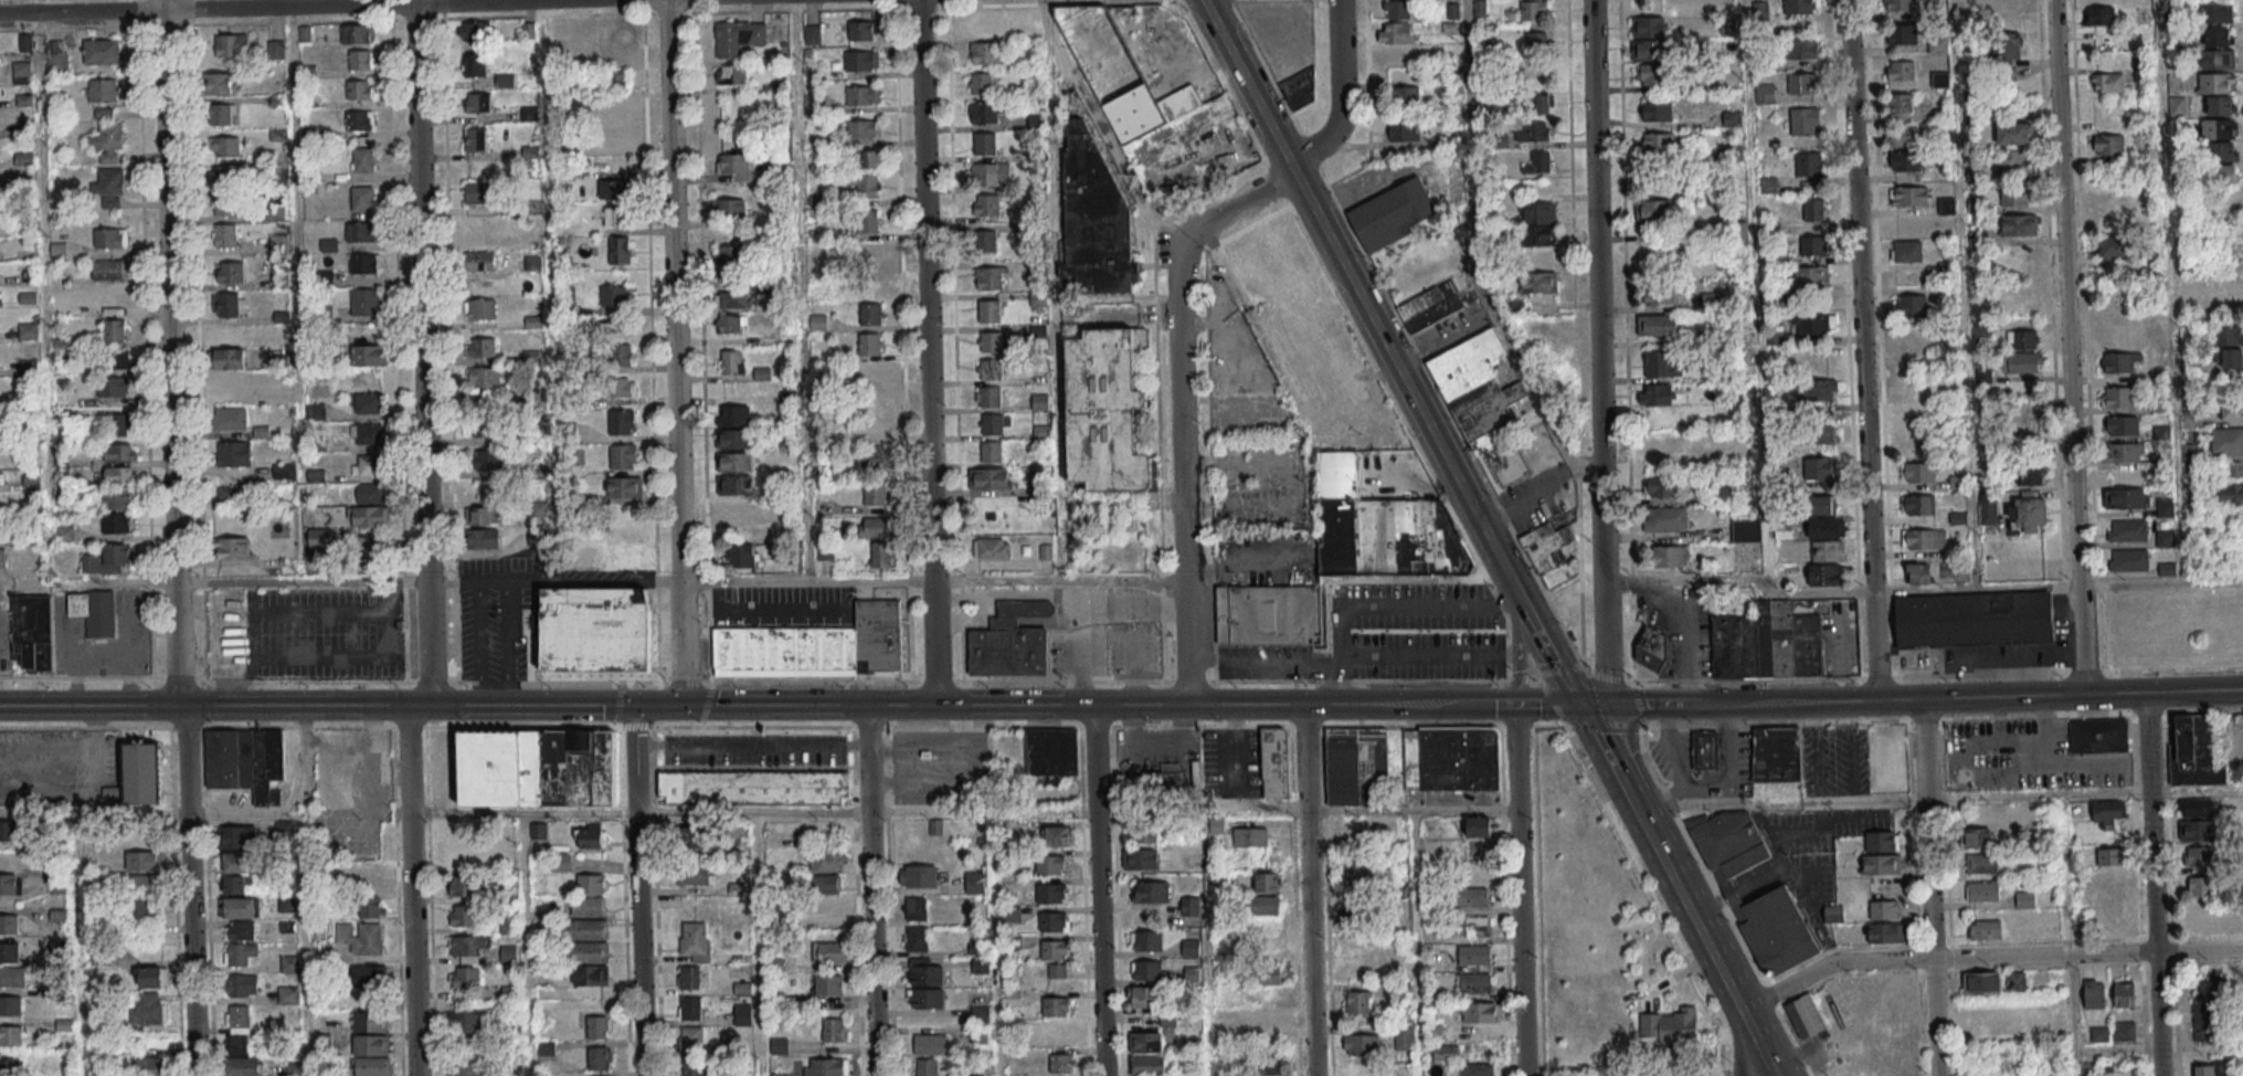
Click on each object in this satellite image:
building: (1968, 2)
building: (1901, 4)
building: (2006, 4)
road: (288, 7)
building: (1802, 7)
building: (1396, 9)
building: (1533, 10)
building: (2215, 12)
building: (2101, 15)
building: (986, 22)
building: (528, 30)
building: (860, 30)
building: (473, 31)
building: (1395, 32)
building: (356, 33)
building: (1902, 33)
building: (2216, 35)
building: (738, 36)
building: (1649, 38)
building: (1536, 41)
building: (232, 44)
building: (1937, 45)
building: (1802, 48)
building: (276, 49)
building: (100, 51)
building: (2006, 51)
building: (614, 52)
building: (985, 52)
building: (1395, 55)
building: (57, 57)
building: (361, 59)
building: (2218, 59)
building: (860, 60)
building: (473, 65)
building: (1901, 71)
building: (21, 72)
building: (1536, 73)
building: (729, 74)
building: (1652, 74)
building: (505, 80)
building: (615, 80)
building: (1940, 80)
building: (2106, 82)
building: (218, 83)
building: (981, 83)
building: (1801, 83)
building: (2216, 83)
building: (102, 89)
building: (359, 89)
building: (1299, 89)
building: (1765, 93)
road: (1340, 94)
building: (863, 95)
building: (1404, 96)
building: (1179, 102)
building: (478, 103)
building: (1542, 103)
building: (1901, 103)
building: (2221, 105)
building: (2177, 106)
building: (612, 110)
building: (1657, 110)
building: (984, 113)
building: (222, 114)
building: (1732, 118)
building: (359, 119)
building: (1805, 120)
building: (861, 129)
building: (2218, 129)
building: (1403, 130)
building: (1532, 131)
building: (276, 134)
building: (2014, 134)
building: (1903, 136)
building: (612, 138)
road: (1108, 138)
building: (476, 139)
building: (107, 141)
building: (984, 143)
building: (1658, 143)
building: (225, 145)
building: (2108, 146)
building: (2223, 151)
building: (868, 158)
building: (363, 160)
building: (1905, 160)
building: (2014, 161)
building: (732, 162)
building: (1540, 162)
building: (1809, 165)
building: (225, 173)
building: (991, 173)
building: (2223, 173)
building: (864, 184)
building: (109, 187)
building: (613, 188)
building: (479, 192)
building: (1911, 196)
building: (2017, 197)
building: (363, 198)
road: (1241, 200)
building: (225, 203)
building: (986, 204)
building: (1947, 205)
building: (728, 208)
building: (1813, 209)
building: (1653, 210)
building: (1392, 214)
building: (615, 217)
building: (1094, 220)
building: (867, 221)
building: (2115, 223)
building: (1538, 224)
building: (2018, 224)
building: (476, 228)
building: (361, 232)
building: (225, 235)
building: (110, 238)
building: (985, 241)
building: (1812, 245)
building: (2117, 246)
building: (620, 250)
building: (1906, 251)
building: (867, 254)
building: (731, 255)
road: (1470, 259)
building: (2017, 260)
building: (480, 261)
building: (364, 263)
building: (109, 268)
building: (1538, 271)
building: (230, 272)
building: (1283, 273)
building: (1810, 276)
building: (990, 277)
road: (1051, 288)
road: (674, 289)
road: (925, 289)
building: (2226, 291)
building: (1659, 293)
building: (615, 295)
building: (730, 297)
building: (2184, 297)
building: (113, 298)
building: (364, 300)
building: (229, 304)
building: (1909, 305)
road: (1364, 306)
building: (60, 307)
building: (1427, 307)
building: (479, 308)
building: (990, 310)
building: (870, 313)
building: (1816, 321)
building: (731, 323)
building: (1657, 325)
building: (115, 329)
building: (28, 330)
building: (233, 335)
road: (1355, 337)
building: (2022, 339)
road: (448, 340)
road: (902, 340)
road: (197, 341)
building: (990, 342)
building: (1911, 342)
building: (869, 344)
building: (2229, 345)
building: (479, 347)
road: (2066, 347)
road: (1862, 349)
road: (1599, 350)
road: (422, 352)
building: (369, 355)
building: (622, 355)
building: (229, 358)
building: (118, 359)
building: (730, 361)
building: (2119, 361)
building: (2021, 362)
building: (1661, 363)
building: (990, 369)
building: (871, 372)
building: (484, 377)
building: (226, 380)
building: (113, 387)
building: (618, 387)
building: (1475, 388)
building: (1906, 388)
building: (1820, 390)
building: (1655, 394)
building: (988, 397)
building: (2117, 397)
building: (366, 403)
building: (1105, 411)
building: (2230, 411)
road: (146, 414)
building: (732, 415)
building: (229, 418)
building: (622, 422)
building: (2023, 422)
building: (995, 423)
building: (117, 424)
building: (485, 425)
building: (2122, 425)
building: (875, 431)
building: (367, 433)
building: (1824, 433)
building: (734, 439)
building: (1655, 439)
building: (2226, 441)
building: (119, 452)
building: (991, 452)
building: (2124, 452)
building: (233, 453)
building: (623, 456)
building: (877, 457)
building: (485, 458)
building: (733, 462)
building: (367, 465)
road: (1182, 465)
building: (1818, 467)
building: (2232, 468)
building: (284, 471)
building: (1917, 472)
building: (120, 474)
building: (2031, 474)
building: (2, 477)
building: (990, 478)
building: (317, 482)
building: (734, 484)
building: (1662, 486)
building: (624, 487)
building: (370, 493)
building: (2226, 493)
building: (875, 494)
building: (1725, 494)
building: (233, 496)
building: (2129, 498)
building: (118, 499)
building: (1821, 504)
building: (1916, 505)
building: (2163, 507)
building: (734, 508)
building: (1988, 511)
building: (2028, 513)
building: (485, 515)
building: (369, 516)
building: (1664, 519)
building: (115, 525)
building: (877, 526)
building: (1826, 527)
building: (1782, 529)
building: (1746, 530)
building: (2126, 530)
road: (173, 538)
building: (319, 538)
building: (483, 538)
building: (1923, 538)
building: (232, 548)
building: (991, 548)
building: (1828, 550)
building: (1551, 553)
building: (740, 555)
building: (882, 555)
building: (1671, 556)
building: (1344, 558)
building: (3, 559)
building: (107, 560)
building: (2128, 560)
building: (1917, 572)
building: (1824, 574)
road: (932, 579)
road: (301, 580)
road: (1921, 591)
road: (1384, 603)
parking lot: (782, 604)
building: (95, 611)
building: (1974, 620)
building: (594, 630)
building: (33, 631)
parking lot: (305, 633)
road: (934, 642)
building: (1011, 642)
building: (1767, 642)
road: (681, 643)
building: (814, 646)
building: (1652, 648)
road: (1552, 656)
road: (1523, 658)
road: (1355, 660)
road: (1557, 669)
road: (1520, 677)
road: (613, 682)
road: (1982, 697)
road: (1664, 700)
traffic signals: (1575, 701)
road: (1590, 701)
road: (1545, 703)
road: (1637, 703)
road: (1492, 704)
traffic signals: (633, 706)
traffic signals: (684, 706)
road: (734, 706)
road: (1943, 720)
road: (1604, 725)
road: (782, 727)
road: (95, 729)
road: (1593, 734)
building: (2097, 735)
road: (887, 746)
building: (1704, 750)
building: (2194, 751)
road: (47, 752)
building: (1776, 752)
building: (1050, 753)
building: (1451, 758)
building: (246, 761)
building: (1274, 762)
building: (1356, 766)
building: (536, 768)
building: (140, 771)
road: (95, 772)
road: (970, 780)
building: (1163, 780)
building: (754, 788)
road: (47, 794)
road: (1938, 799)
building: (2198, 806)
road: (204, 812)
road: (1636, 812)
road: (964, 813)
building: (2105, 814)
building: (1480, 825)
building: (2197, 830)
building: (9, 831)
building: (1143, 833)
building: (591, 835)
building: (1057, 835)
building: (237, 836)
building: (1249, 836)
building: (691, 837)
building: (1979, 837)
building: (1881, 841)
building: (2109, 856)
building: (2199, 856)
building: (1140, 858)
building: (144, 861)
building: (827, 861)
building: (237, 862)
building: (563, 862)
building: (1981, 863)
building: (1050, 864)
building: (1880, 864)
building: (1355, 873)
building: (694, 874)
building: (918, 875)
building: (2109, 878)
building: (1267, 882)
building: (370, 883)
building: (591, 883)
building: (974, 883)
building: (10, 884)
building: (141, 884)
building: (237, 884)
building: (823, 884)
road: (2151, 885)
building: (463, 886)
building: (2201, 886)
road: (1928, 887)
road: (1098, 889)
road: (1309, 889)
road: (1519, 889)
road: (412, 890)
road: (637, 890)
road: (870, 890)
building: (1983, 890)
building: (1151, 892)
building: (1051, 893)
building: (1778, 894)
building: (1472, 897)
building: (2024, 899)
road: (1723, 901)
building: (1262, 905)
building: (372, 906)
building: (588, 906)
building: (830, 906)
building: (1189, 906)
building: (242, 907)
building: (916, 908)
building: (1884, 909)
building: (141, 911)
building: (1833, 914)
building: (463, 915)
building: (2202, 917)
building: (1051, 921)
building: (1361, 922)
building: (8, 924)
building: (2112, 925)
building: (1473, 926)
building: (588, 928)
building: (240, 929)
building: (1985, 929)
building: (1885, 932)
building: (360, 937)
building: (917, 939)
building: (695, 940)
building: (1145, 940)
road: (525, 945)
road: (758, 945)
building: (467, 947)
building: (1189, 947)
building: (9, 952)
building: (589, 952)
building: (830, 952)
building: (239, 953)
building: (508, 953)
building: (1474, 954)
building: (1056, 957)
road: (1987, 958)
building: (1437, 961)
building: (287, 963)
building: (980, 966)
road: (1720, 966)
building: (1147, 970)
building: (925, 971)
building: (1191, 973)
building: (1266, 973)
building: (369, 974)
building: (589, 974)
building: (14, 975)
building: (150, 977)
building: (464, 977)
building: (689, 977)
building: (2015, 981)
building: (1474, 982)
building: (1981, 982)
building: (243, 984)
building: (828, 984)
building: (2094, 993)
building: (2124, 993)
building: (288, 994)
building: (1144, 996)
building: (1268, 996)
building: (927, 999)
building: (1357, 1003)
building: (10, 1004)
building: (1056, 1005)
building: (689, 1008)
building: (148, 1009)
building: (2207, 1010)
building: (1480, 1012)
building: (742, 1014)
building: (980, 1014)
building: (1805, 1016)
building: (1167, 1019)
building: (1270, 1019)
building: (370, 1021)
building: (467, 1021)
building: (1668, 1025)
building: (597, 1026)
building: (237, 1030)
building: (833, 1030)
building: (2123, 1031)
building: (1992, 1032)
building: (1060, 1034)
building: (11, 1035)
building: (690, 1036)
building: (1404, 1037)
building: (1145, 1041)
road: (1744, 1043)
building: (930, 1044)
building: (1362, 1044)
building: (371, 1045)
road: (2073, 1045)
building: (779, 1046)
building: (1446, 1052)
building: (600, 1057)
building: (1062, 1063)
building: (464, 1065)
building: (1147, 1065)
building: (1267, 1065)
building: (11, 1066)
building: (149, 1066)
building: (244, 1066)
building: (372, 1066)
building: (826, 1066)
building: (927, 1067)
building: (2211, 1068)
building: (1477, 1069)
building: (690, 1073)

